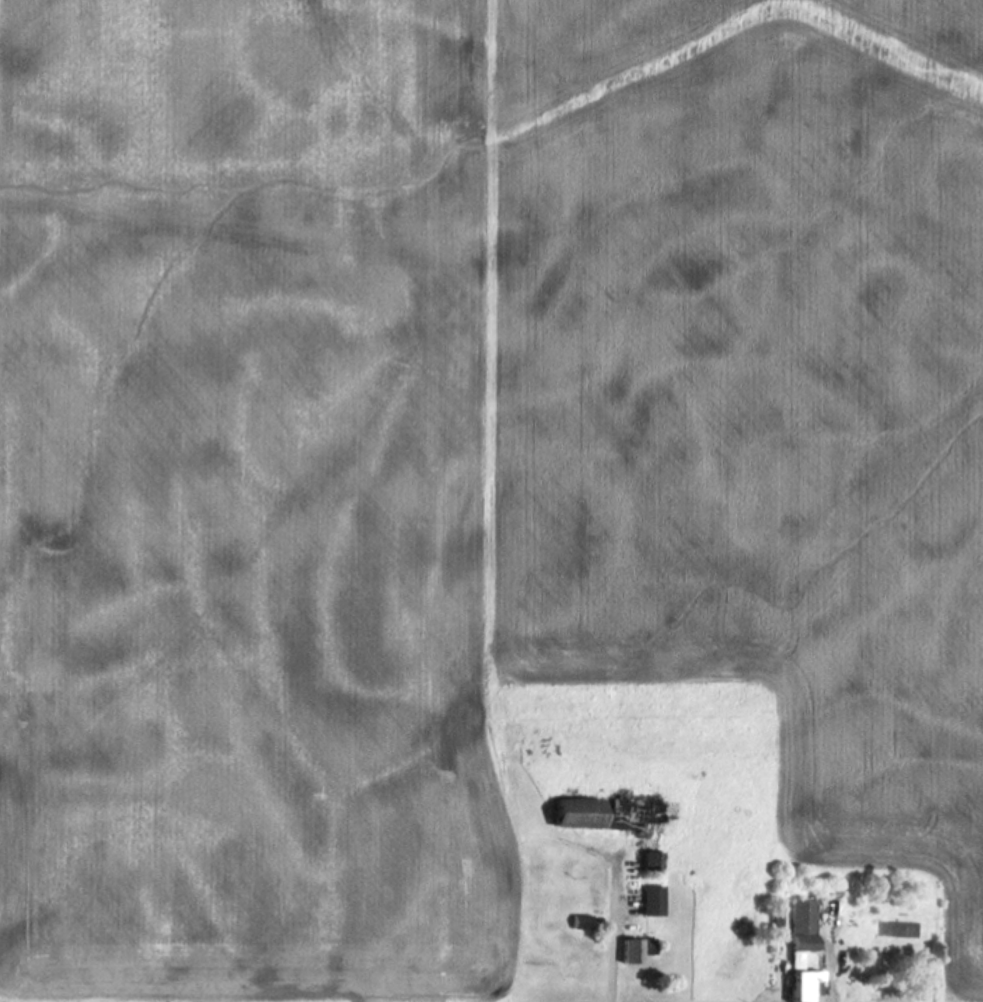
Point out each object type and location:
building: (572, 815)
building: (648, 902)
building: (578, 924)
road: (614, 935)
building: (632, 952)
building: (799, 952)
road: (835, 982)

